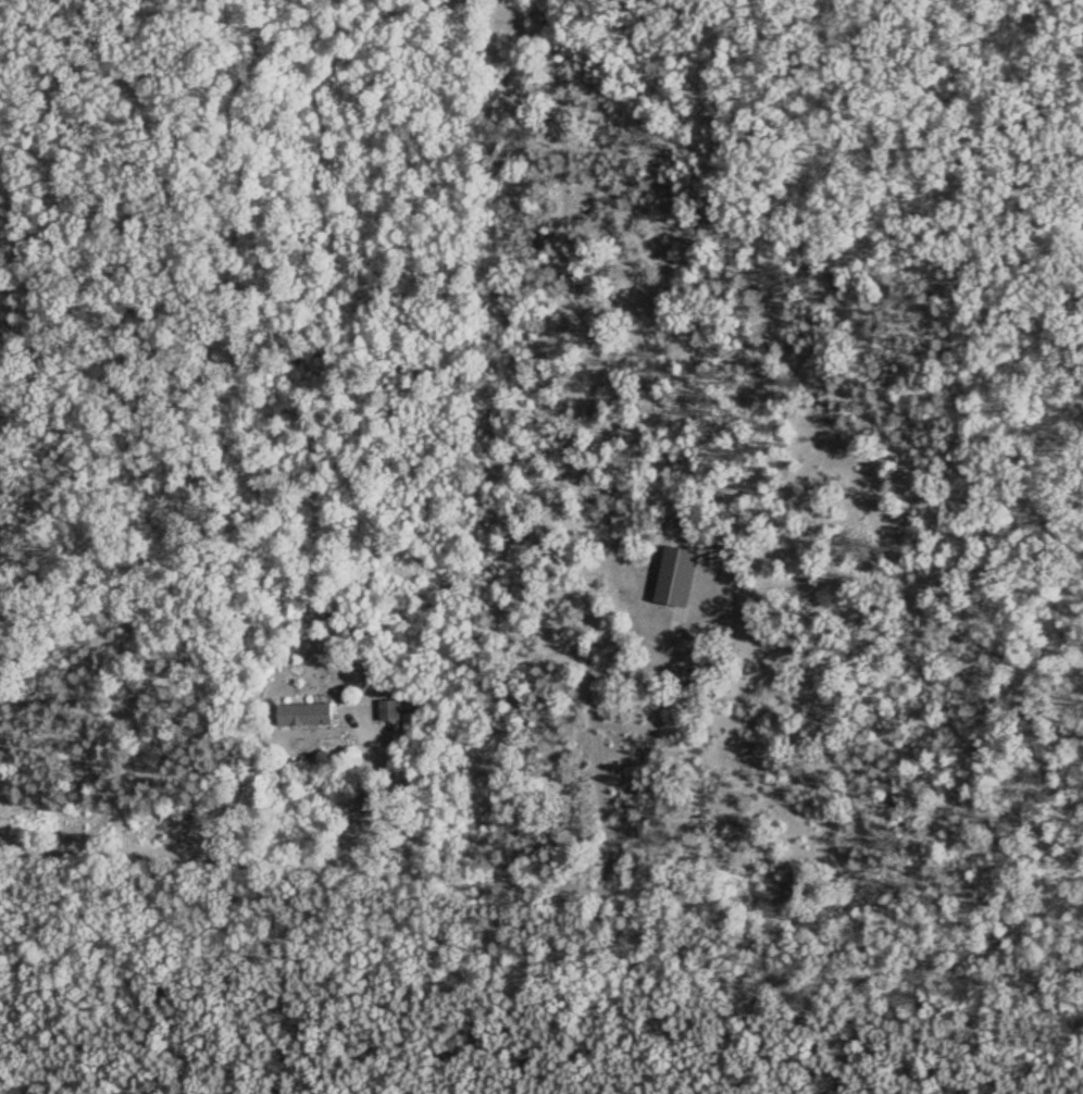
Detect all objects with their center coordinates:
building: (681, 577)
building: (309, 712)
building: (398, 712)
road: (645, 769)
road: (540, 878)

